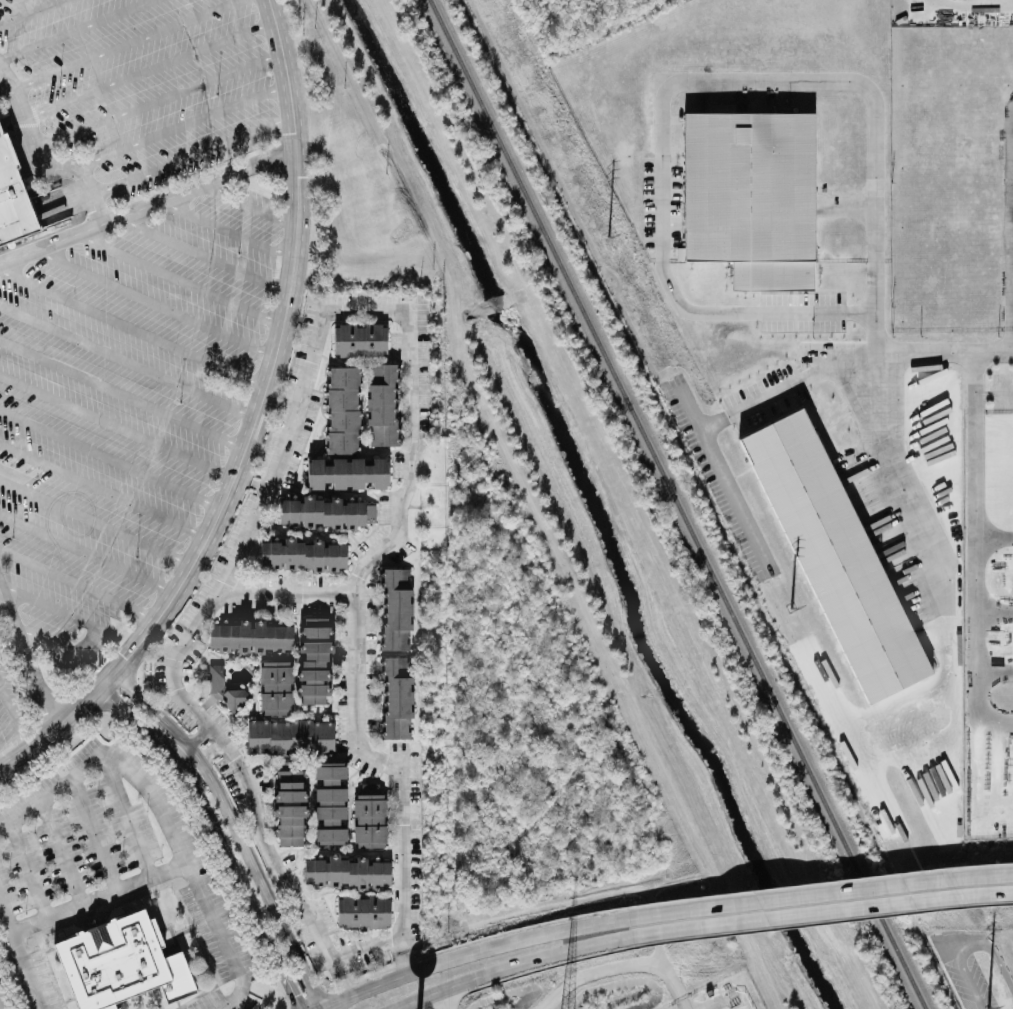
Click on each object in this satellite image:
road: (33, 13)
road: (77, 30)
road: (127, 44)
road: (151, 68)
road: (6, 75)
road: (768, 81)
road: (161, 99)
road: (179, 128)
road: (44, 156)
road: (191, 156)
building: (755, 198)
road: (147, 202)
building: (12, 206)
road: (245, 206)
road: (226, 227)
power tower: (612, 253)
road: (200, 254)
road: (177, 276)
road: (153, 300)
road: (752, 313)
road: (132, 326)
building: (360, 341)
road: (316, 342)
road: (900, 348)
road: (127, 362)
road: (976, 382)
road: (124, 391)
road: (1008, 391)
road: (770, 401)
building: (381, 406)
building: (343, 411)
road: (119, 426)
road: (252, 428)
road: (113, 461)
building: (348, 475)
road: (106, 491)
road: (737, 500)
railway: (676, 504)
building: (327, 514)
road: (98, 522)
road: (926, 552)
road: (88, 553)
building: (303, 556)
building: (838, 556)
road: (976, 584)
road: (78, 585)
road: (287, 594)
road: (58, 610)
building: (397, 610)
power tower: (794, 625)
building: (250, 638)
road: (32, 647)
road: (69, 651)
building: (315, 662)
building: (276, 689)
building: (225, 691)
building: (397, 699)
road: (15, 715)
building: (290, 738)
road: (191, 742)
road: (204, 757)
road: (1, 769)
building: (330, 806)
building: (291, 808)
road: (169, 809)
road: (126, 812)
building: (369, 822)
road: (234, 828)
road: (95, 829)
road: (216, 837)
road: (62, 849)
road: (29, 867)
building: (347, 875)
road: (818, 891)
road: (105, 892)
road: (820, 911)
building: (364, 914)
road: (964, 943)
road: (24, 946)
road: (469, 952)
road: (403, 956)
building: (121, 966)
road: (619, 966)
road: (511, 968)
road: (342, 979)
road: (444, 1000)
power tower: (977, 1000)
road: (712, 1004)
road: (0, 1006)

